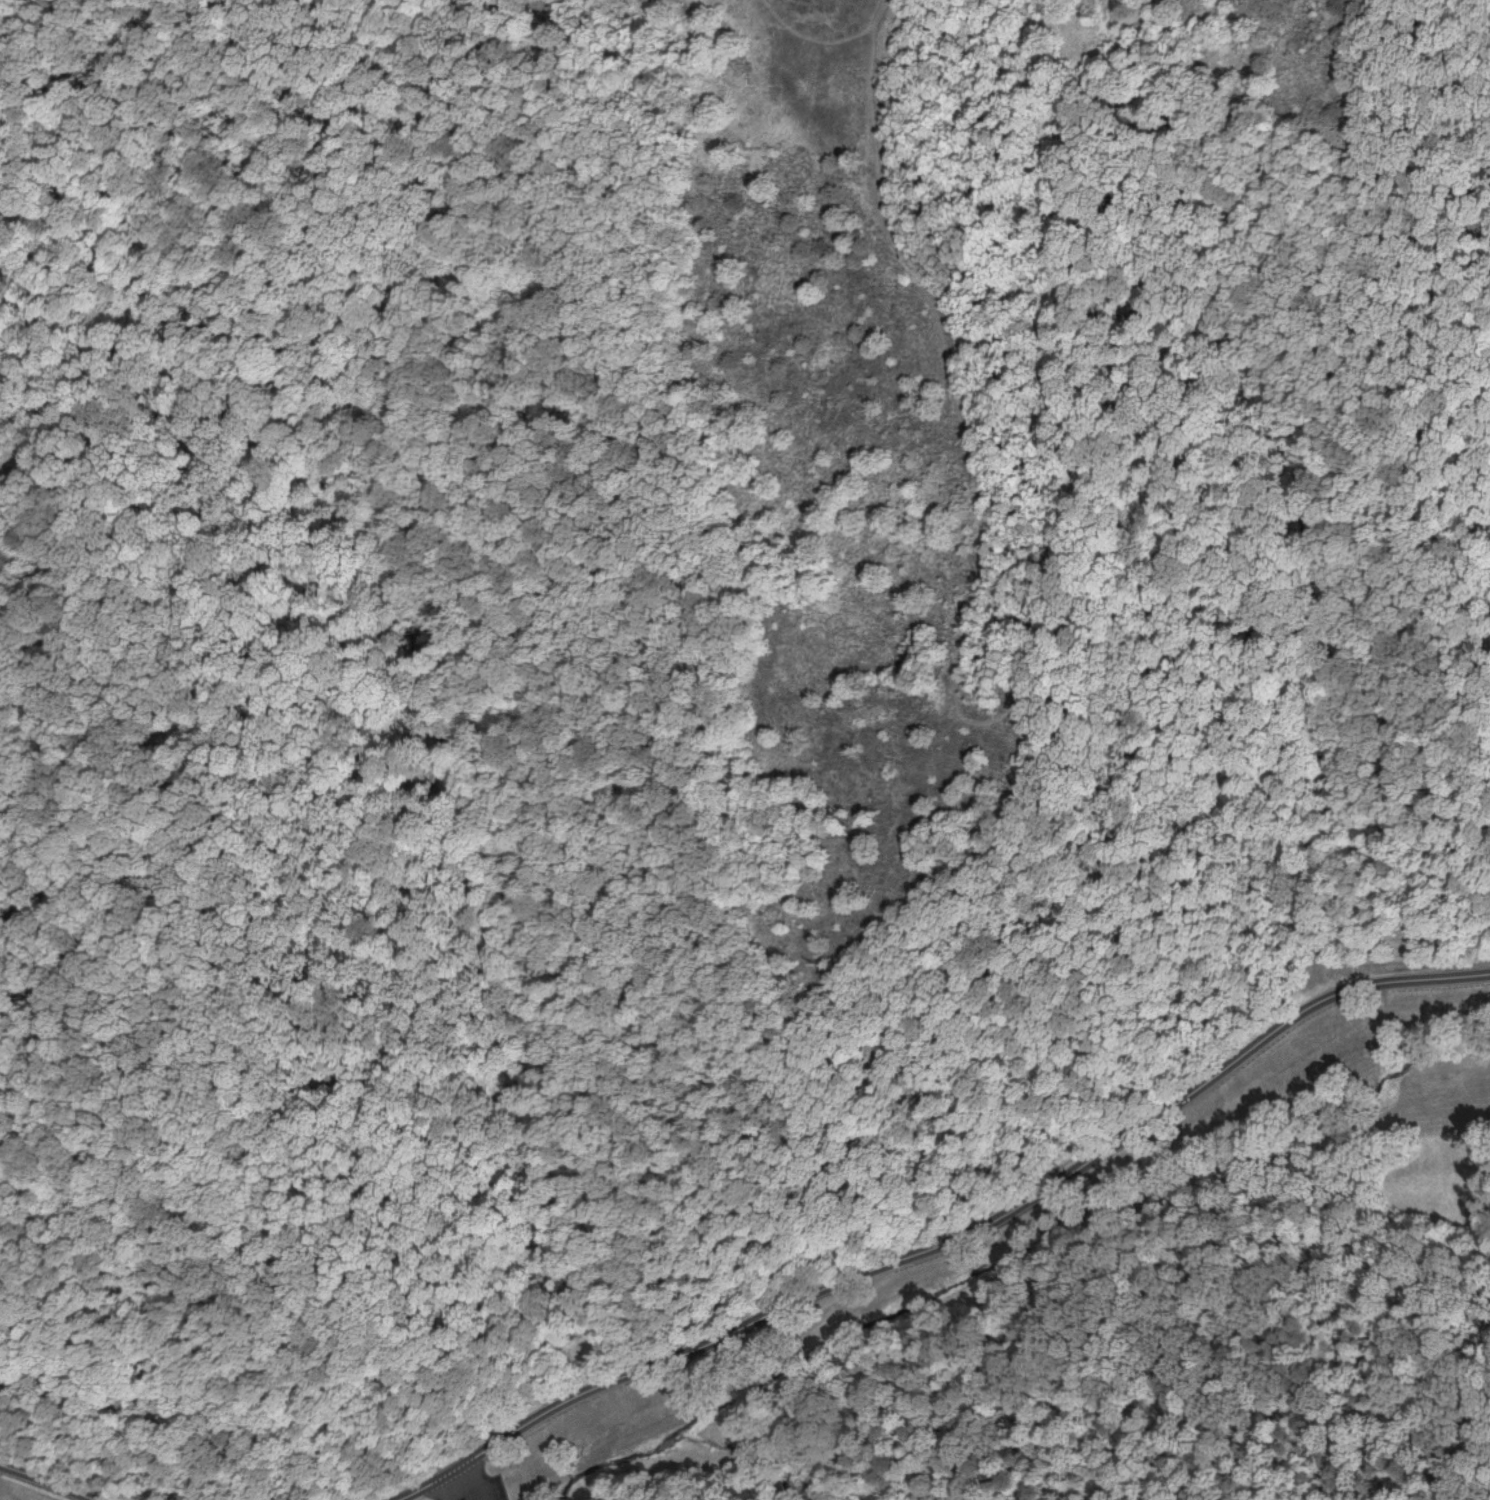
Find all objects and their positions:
road: (878, 11)
road: (819, 33)
road: (1357, 193)
road: (1157, 213)
road: (956, 400)
road: (1415, 553)
road: (1292, 671)
road: (13, 1006)
road: (245, 1044)
road: (945, 1238)
road: (1013, 1251)
road: (57, 1347)
road: (55, 1376)
road: (48, 1482)
road: (449, 1483)
parking lot: (477, 1490)

